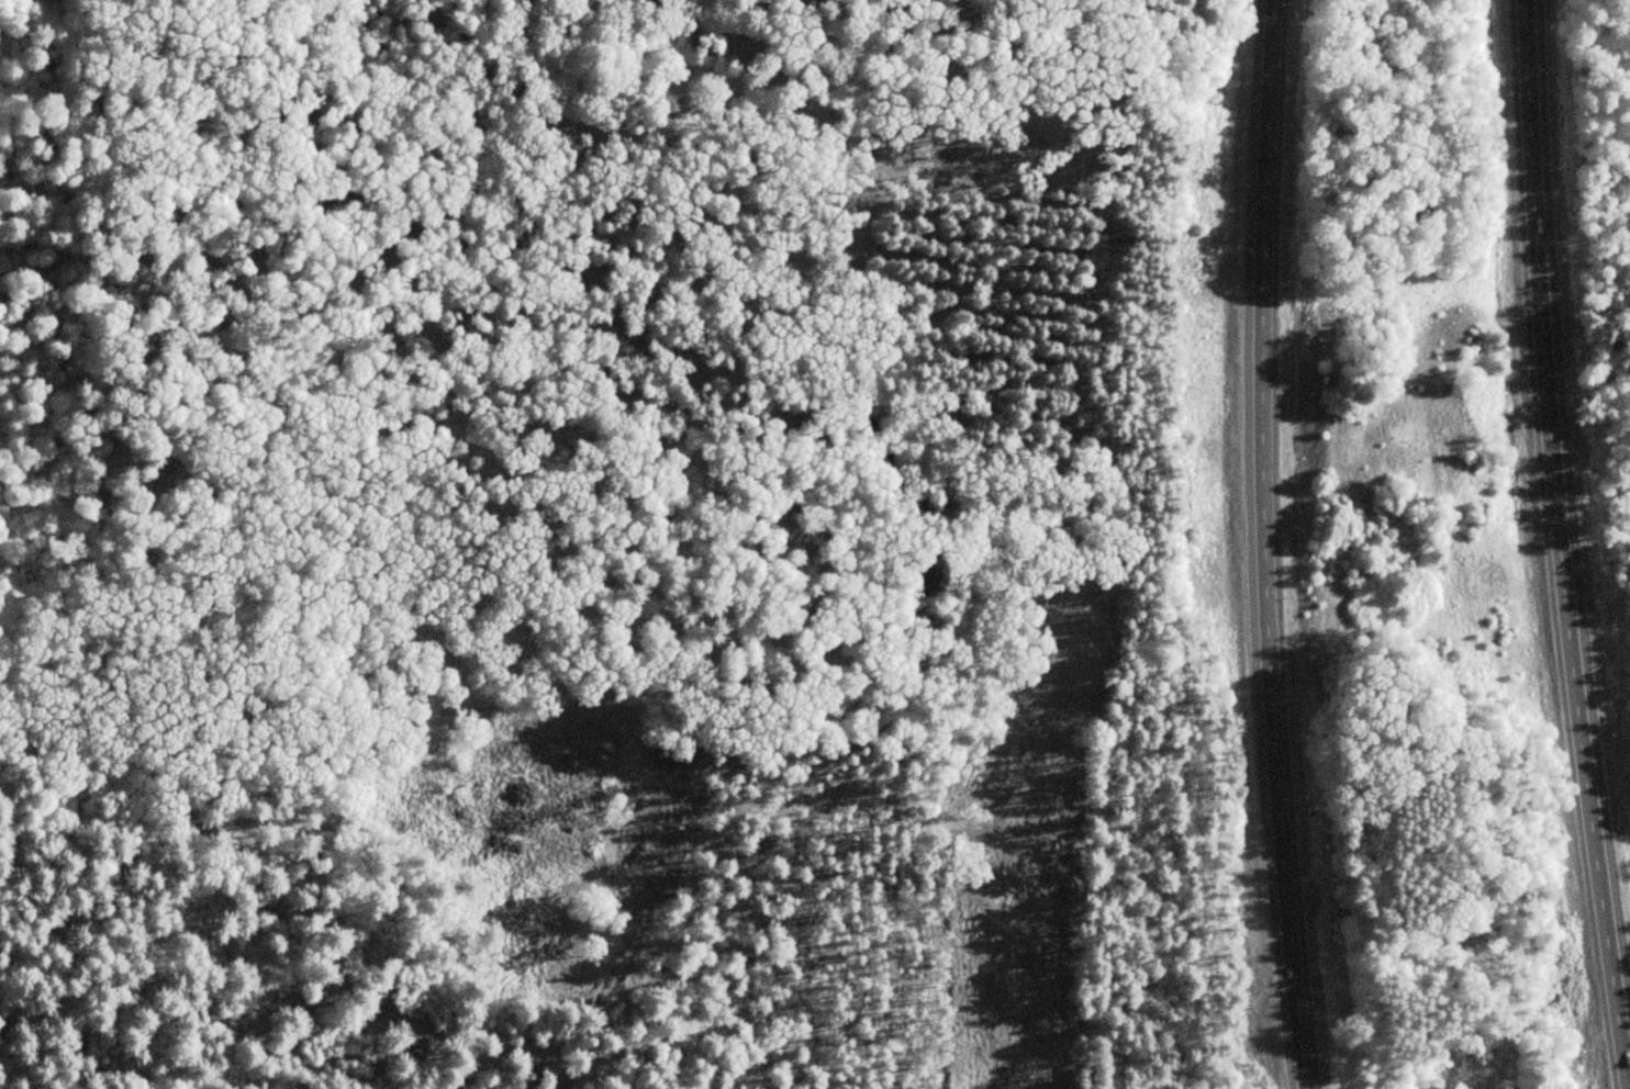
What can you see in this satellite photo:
road: (1251, 544)
road: (1560, 546)

